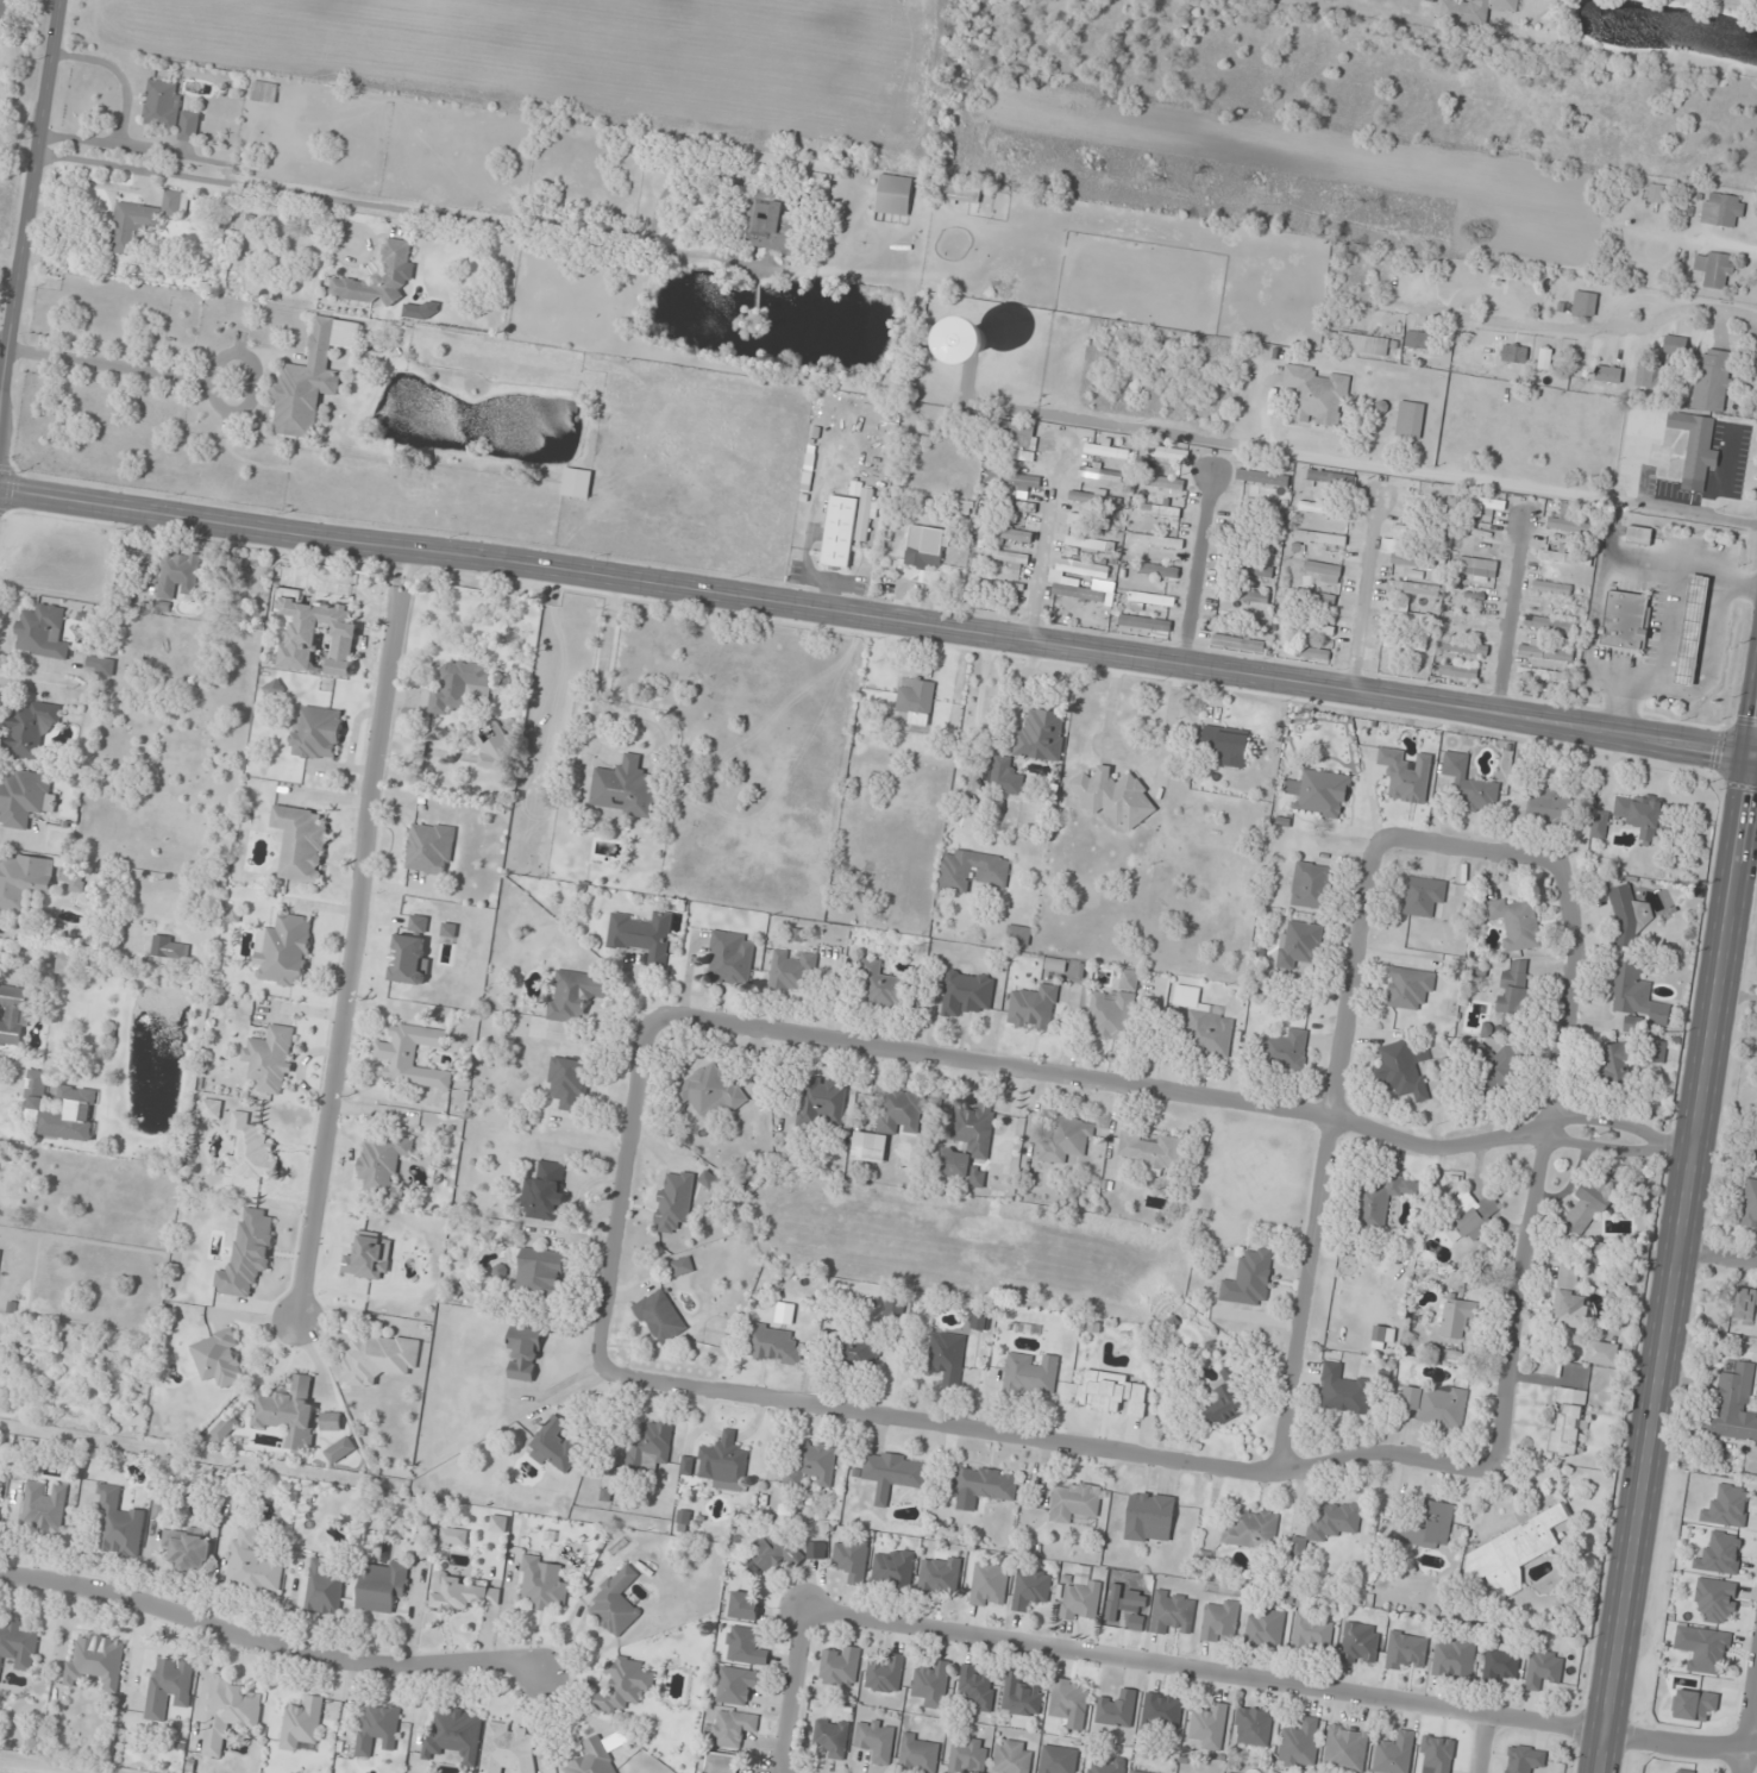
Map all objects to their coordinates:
building: (5, 10)
building: (1474, 10)
building: (264, 92)
building: (169, 111)
road: (276, 187)
building: (960, 193)
building: (1656, 194)
building: (895, 195)
road: (27, 199)
building: (1721, 209)
building: (140, 223)
building: (774, 225)
road: (1540, 268)
building: (1714, 269)
building: (381, 277)
building: (1585, 303)
building: (1420, 339)
building: (973, 340)
building: (1362, 344)
building: (1675, 345)
building: (1514, 353)
building: (1545, 358)
building: (1608, 374)
building: (1646, 374)
building: (1712, 380)
building: (307, 384)
building: (1317, 395)
building: (1410, 420)
building: (1021, 433)
building: (1695, 443)
building: (1017, 455)
building: (808, 468)
building: (1100, 474)
building: (1014, 481)
building: (576, 483)
building: (1165, 483)
road: (1554, 489)
building: (1094, 499)
building: (1011, 506)
building: (1477, 507)
building: (1324, 509)
building: (1160, 510)
building: (1096, 521)
building: (1573, 524)
building: (839, 531)
building: (1006, 533)
building: (1639, 535)
building: (1320, 538)
road: (1043, 541)
building: (1156, 541)
building: (1086, 543)
building: (928, 549)
building: (1564, 558)
building: (1476, 559)
building: (1412, 560)
building: (1248, 569)
road: (1196, 570)
road: (590, 571)
building: (1159, 571)
building: (1325, 574)
building: (178, 575)
building: (1055, 581)
building: (1412, 588)
building: (1552, 588)
building: (1243, 594)
road: (1364, 594)
building: (1316, 600)
building: (1147, 601)
road: (1511, 615)
building: (1407, 618)
building: (1625, 620)
building: (1468, 621)
building: (1551, 625)
building: (1144, 628)
building: (1316, 628)
building: (1690, 629)
building: (42, 632)
building: (314, 633)
building: (1404, 647)
building: (1462, 647)
building: (1544, 652)
building: (1307, 653)
building: (99, 664)
building: (1458, 671)
building: (1540, 675)
building: (462, 685)
building: (274, 689)
building: (916, 700)
road: (1466, 708)
road: (977, 715)
building: (31, 729)
building: (318, 735)
building: (1042, 737)
building: (1225, 745)
building: (491, 754)
traffic signals: (1751, 757)
road: (1753, 757)
building: (1405, 775)
building: (1005, 776)
building: (1470, 784)
building: (625, 788)
building: (1320, 794)
building: (1115, 797)
building: (25, 800)
building: (1550, 807)
building: (1643, 814)
building: (1599, 825)
building: (301, 844)
road: (1468, 844)
building: (429, 848)
building: (972, 870)
building: (74, 878)
building: (24, 882)
building: (1311, 885)
building: (1422, 896)
building: (1629, 914)
building: (1517, 922)
building: (0, 925)
road: (353, 934)
building: (644, 936)
building: (1299, 945)
building: (169, 947)
building: (285, 951)
building: (730, 958)
building: (67, 966)
building: (792, 971)
building: (879, 984)
building: (1408, 988)
building: (966, 992)
building: (1636, 994)
building: (575, 995)
building: (1513, 995)
building: (1034, 1008)
building: (1113, 1010)
building: (14, 1015)
building: (1205, 1025)
building: (1285, 1048)
building: (1657, 1052)
building: (414, 1055)
building: (270, 1059)
building: (1617, 1064)
building: (1403, 1069)
building: (1494, 1069)
building: (570, 1082)
road: (1175, 1089)
building: (711, 1091)
building: (824, 1102)
building: (59, 1109)
building: (212, 1109)
building: (901, 1113)
building: (968, 1139)
building: (1067, 1139)
building: (871, 1140)
building: (250, 1149)
building: (1150, 1149)
road: (1325, 1152)
road: (1536, 1165)
building: (383, 1166)
road: (619, 1188)
building: (545, 1192)
building: (1380, 1198)
building: (674, 1201)
building: (1589, 1204)
building: (1749, 1205)
building: (1472, 1214)
road: (1674, 1245)
building: (0, 1251)
building: (247, 1253)
building: (369, 1257)
road: (1715, 1258)
building: (682, 1266)
building: (541, 1272)
building: (1249, 1279)
building: (1569, 1298)
building: (1744, 1304)
building: (895, 1308)
building: (660, 1317)
building: (1454, 1318)
building: (980, 1321)
building: (771, 1343)
building: (856, 1352)
building: (523, 1353)
building: (1602, 1353)
building: (218, 1358)
building: (378, 1358)
building: (947, 1358)
building: (1028, 1374)
building: (1344, 1390)
building: (1111, 1393)
building: (1228, 1402)
building: (1734, 1402)
building: (1435, 1404)
building: (288, 1414)
building: (1567, 1421)
building: (225, 1428)
road: (1044, 1441)
building: (556, 1446)
building: (650, 1447)
building: (724, 1462)
building: (811, 1465)
building: (895, 1473)
building: (984, 1483)
building: (1074, 1503)
building: (44, 1506)
building: (158, 1508)
building: (0, 1511)
building: (1149, 1517)
building: (120, 1523)
building: (1330, 1524)
building: (1430, 1525)
building: (1251, 1529)
building: (188, 1549)
building: (1514, 1550)
building: (776, 1552)
building: (851, 1560)
building: (252, 1564)
building: (895, 1568)
building: (940, 1575)
building: (541, 1583)
building: (382, 1585)
building: (989, 1585)
building: (325, 1587)
building: (1031, 1589)
building: (458, 1593)
building: (1717, 1599)
building: (1080, 1600)
building: (615, 1603)
building: (745, 1605)
building: (1173, 1614)
building: (1221, 1622)
building: (1265, 1629)
building: (1312, 1630)
building: (18, 1643)
building: (1360, 1643)
building: (745, 1646)
building: (1707, 1646)
road: (266, 1647)
building: (1406, 1650)
building: (1454, 1659)
building: (96, 1661)
building: (1500, 1665)
building: (840, 1666)
road: (1200, 1668)
building: (1543, 1668)
building: (885, 1674)
building: (933, 1684)
building: (623, 1685)
building: (738, 1685)
building: (169, 1686)
building: (978, 1686)
road: (786, 1689)
building: (1021, 1697)
building: (1068, 1700)
building: (1695, 1704)
building: (1117, 1709)
building: (1162, 1710)
building: (230, 1711)
road: (1746, 1716)
building: (302, 1723)
building: (1210, 1725)
building: (1253, 1727)
building: (377, 1728)
building: (732, 1728)
building: (456, 1735)
building: (832, 1737)
building: (876, 1738)
building: (1300, 1744)
road: (1483, 1744)
road: (1678, 1744)
building: (1347, 1748)
building: (509, 1749)
building: (1394, 1753)
building: (920, 1754)
building: (968, 1755)
building: (1012, 1756)
building: (594, 1758)
building: (1059, 1760)
building: (1525, 1760)
building: (721, 1762)
building: (1106, 1766)
building: (1238, 1771)
building: (1687, 1771)

